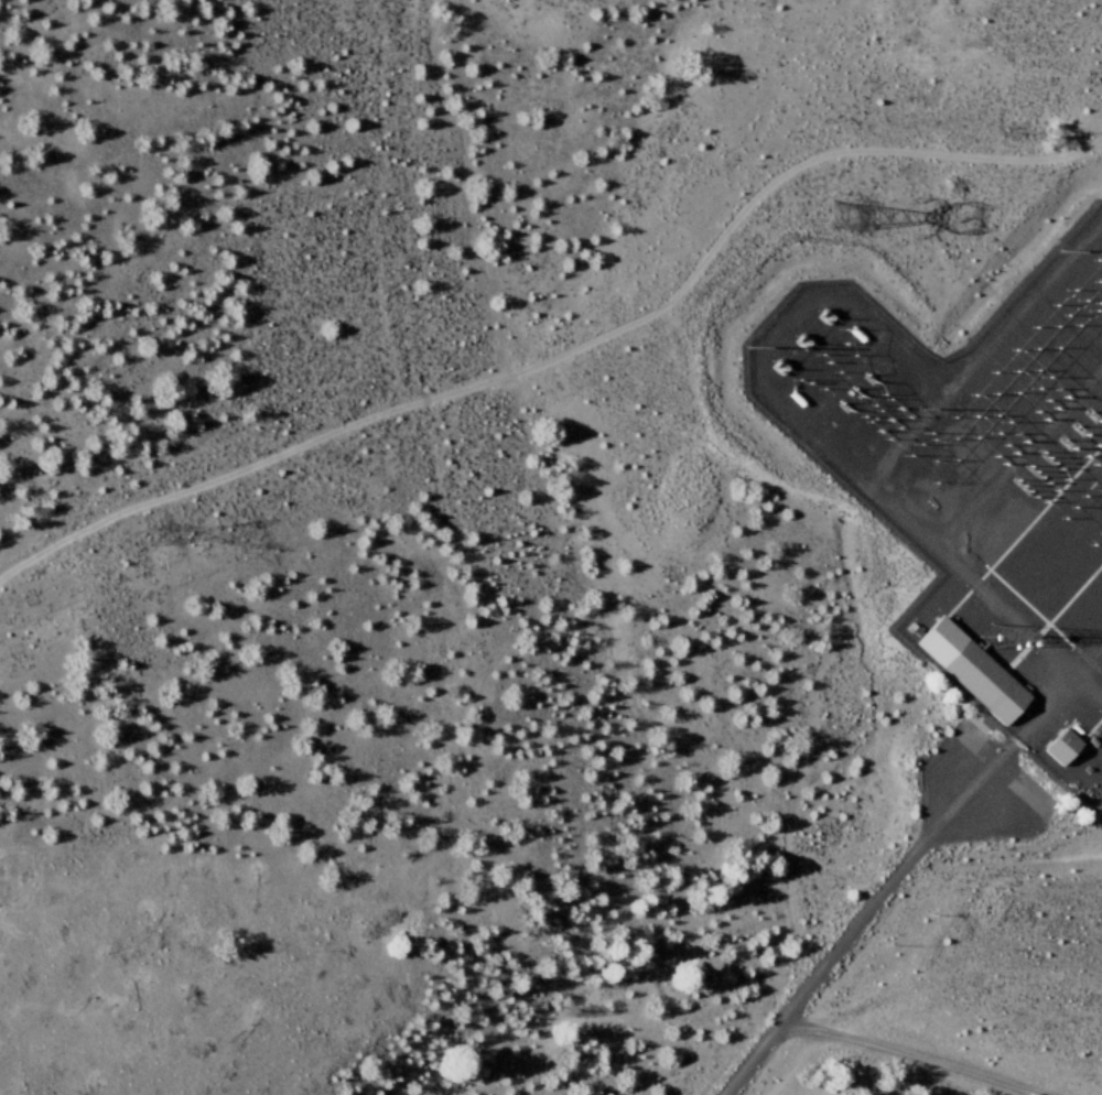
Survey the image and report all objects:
power tower: (855, 213)
power substation: (974, 483)
power tower: (170, 539)
building: (966, 665)
building: (1059, 742)
road: (893, 879)
road: (856, 1041)

